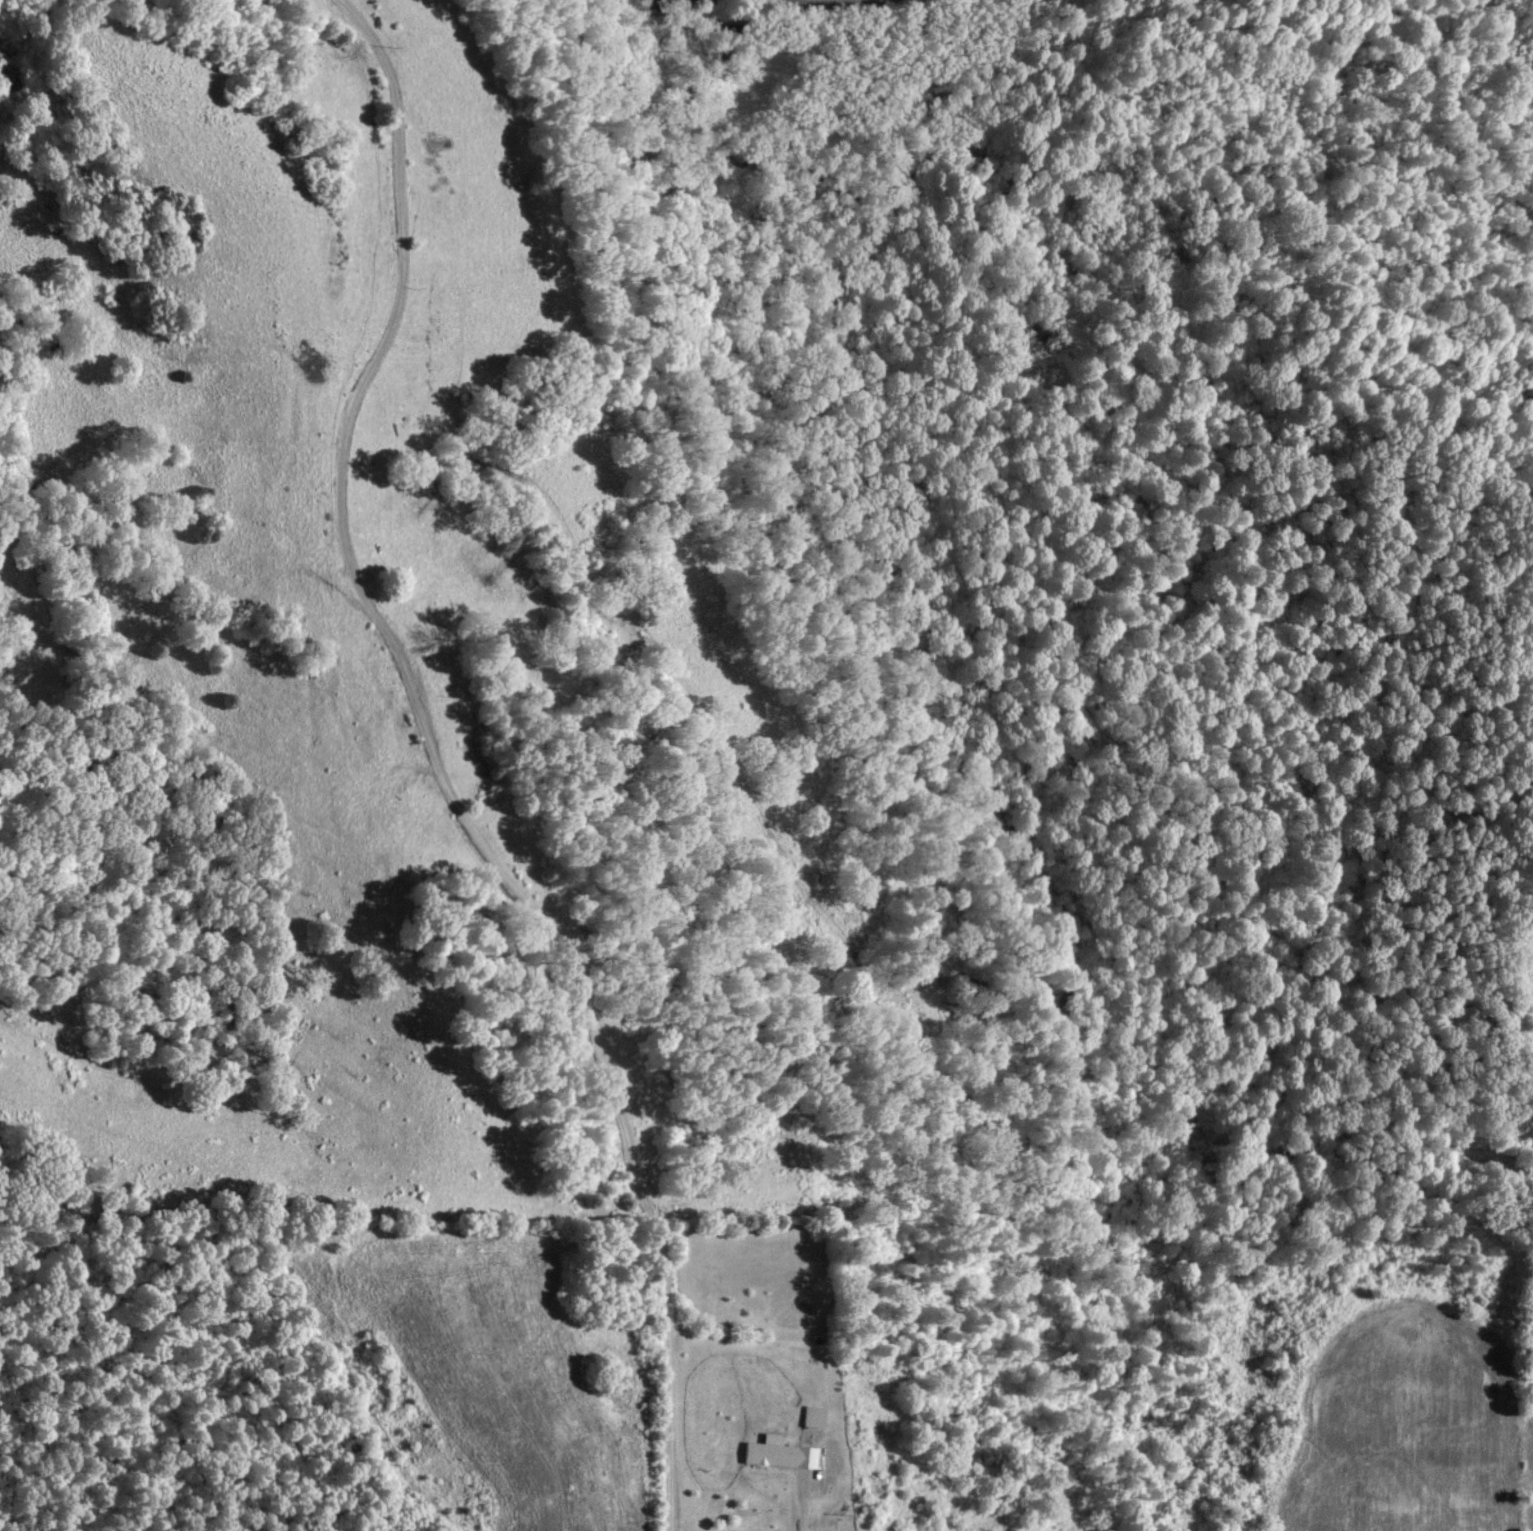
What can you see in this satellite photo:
river: (657, 13)
road: (439, 771)
building: (806, 1415)
building: (767, 1453)

